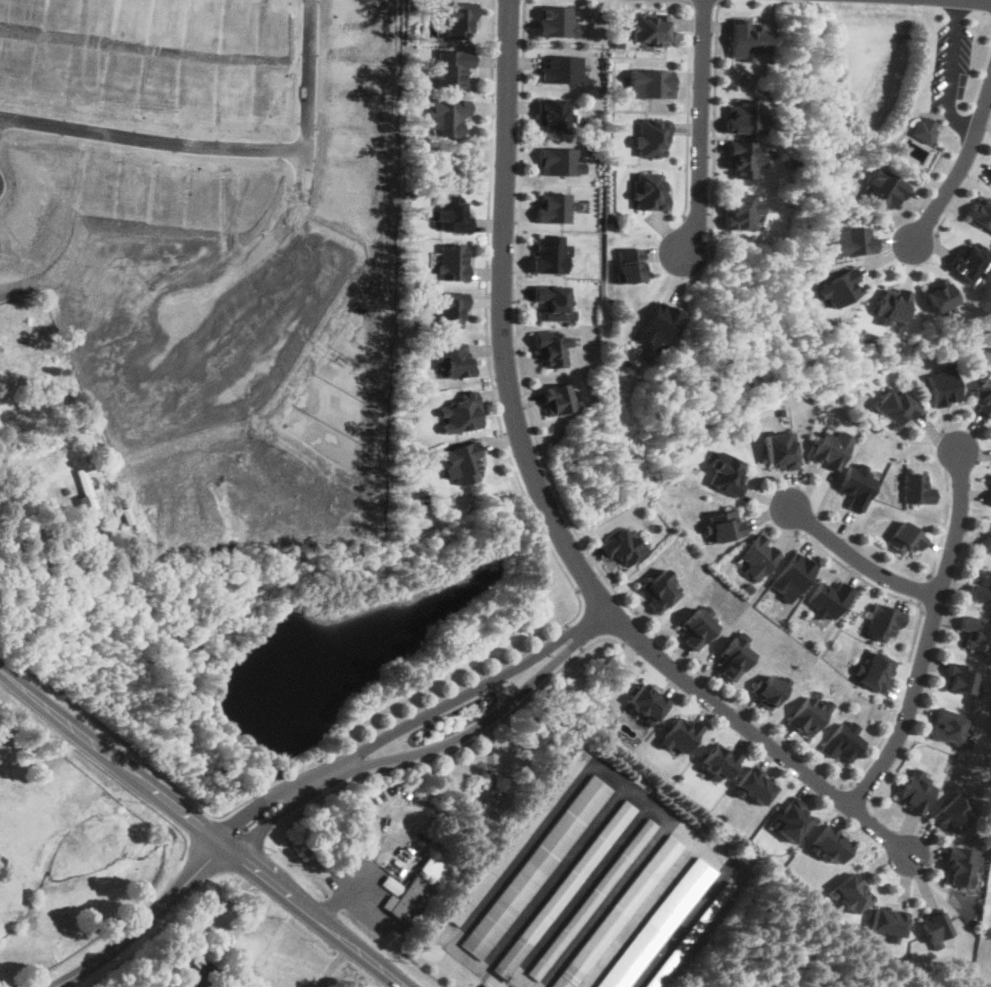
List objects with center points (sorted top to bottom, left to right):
road: (702, 0)
road: (719, 0)
road: (979, 1)
building: (649, 28)
road: (961, 66)
building: (451, 68)
building: (561, 69)
road: (688, 109)
building: (553, 115)
road: (713, 117)
road: (701, 128)
road: (223, 142)
building: (743, 158)
building: (559, 161)
road: (960, 165)
road: (962, 188)
building: (741, 209)
building: (454, 261)
building: (553, 302)
building: (453, 360)
building: (982, 400)
building: (895, 407)
building: (460, 413)
building: (831, 449)
building: (779, 450)
building: (726, 474)
building: (86, 496)
road: (521, 496)
building: (989, 499)
road: (542, 504)
road: (943, 525)
road: (40, 534)
building: (906, 538)
building: (986, 538)
building: (622, 547)
road: (857, 560)
building: (981, 587)
building: (659, 589)
road: (924, 590)
road: (627, 604)
building: (696, 628)
road: (631, 631)
building: (976, 633)
road: (573, 636)
road: (926, 640)
building: (734, 658)
building: (875, 671)
building: (960, 679)
building: (769, 689)
building: (647, 702)
building: (808, 715)
road: (408, 724)
building: (950, 727)
building: (679, 735)
building: (841, 742)
road: (462, 745)
road: (425, 749)
building: (719, 762)
road: (322, 776)
building: (755, 785)
building: (915, 792)
building: (954, 814)
building: (790, 820)
road: (202, 830)
building: (516, 837)
building: (830, 844)
building: (534, 867)
building: (960, 867)
road: (362, 869)
building: (433, 869)
building: (563, 889)
building: (852, 893)
building: (591, 899)
building: (409, 900)
building: (618, 912)
building: (889, 922)
road: (142, 923)
building: (201, 974)

